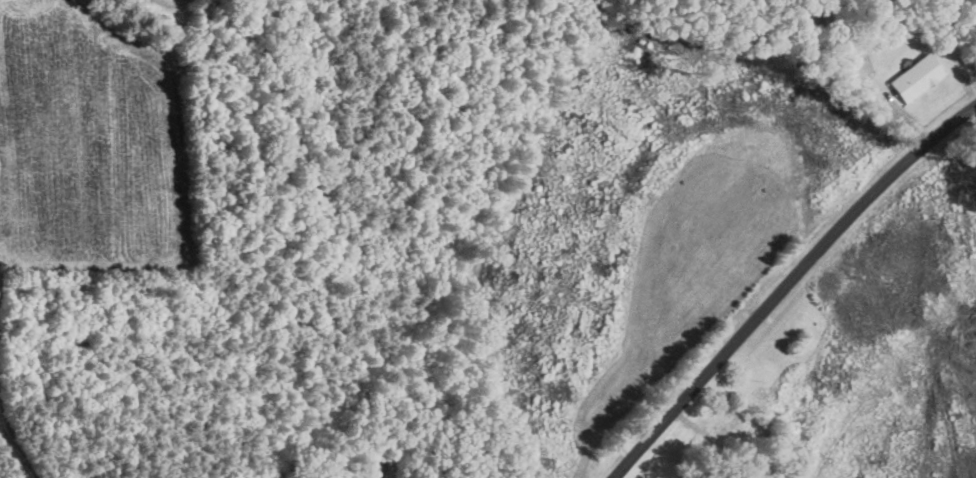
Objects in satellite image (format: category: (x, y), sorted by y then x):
building: (917, 78)
road: (788, 285)
building: (736, 418)
road: (24, 432)

